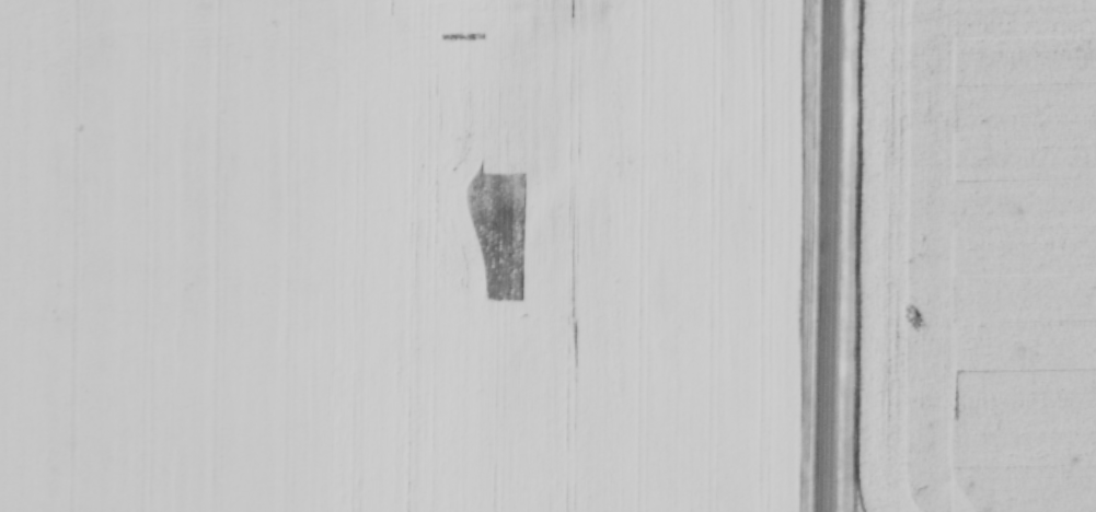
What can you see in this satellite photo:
road: (835, 256)

